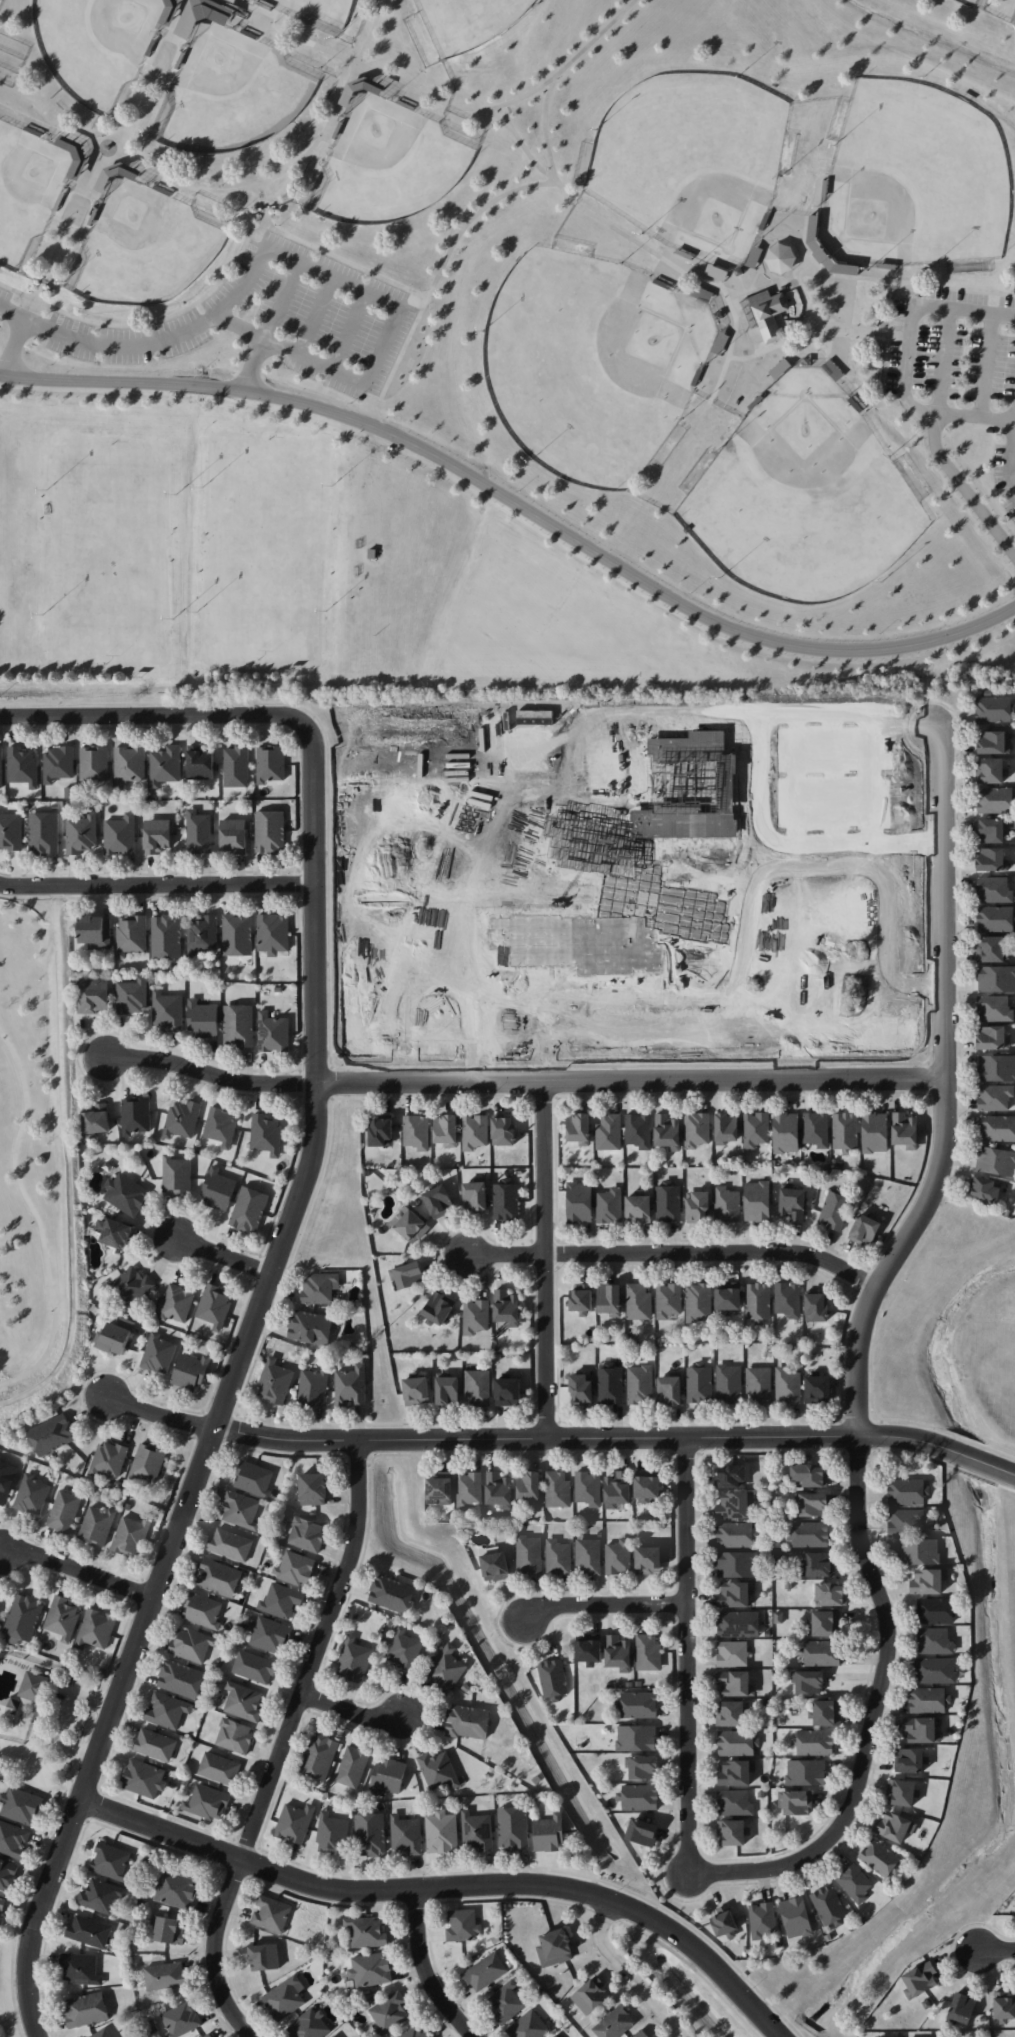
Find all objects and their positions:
building: (234, 0)
park: (978, 3)
park: (324, 11)
building: (203, 15)
park: (1014, 19)
park: (469, 20)
road: (371, 32)
park: (97, 49)
road: (566, 66)
road: (156, 67)
building: (376, 91)
park: (232, 93)
road: (39, 124)
road: (543, 129)
road: (526, 156)
park: (686, 158)
park: (391, 164)
road: (131, 167)
park: (913, 181)
road: (192, 189)
park: (27, 191)
road: (263, 212)
road: (60, 241)
park: (149, 246)
road: (801, 252)
building: (754, 256)
road: (443, 266)
building: (880, 270)
building: (716, 272)
road: (895, 292)
road: (281, 303)
building: (773, 313)
road: (814, 313)
road: (395, 316)
road: (316, 318)
parking lot: (250, 322)
road: (150, 324)
road: (348, 333)
road: (865, 333)
park: (506, 344)
road: (106, 346)
road: (15, 349)
road: (906, 359)
park: (588, 362)
road: (943, 363)
road: (254, 366)
building: (780, 368)
parking lot: (959, 368)
road: (986, 368)
road: (1009, 451)
road: (963, 491)
park: (801, 500)
road: (516, 504)
park: (267, 553)
park: (112, 554)
road: (118, 688)
building: (993, 708)
building: (992, 741)
building: (200, 762)
building: (58, 763)
building: (270, 763)
building: (94, 764)
building: (129, 764)
building: (165, 765)
building: (23, 766)
building: (236, 766)
building: (1, 767)
building: (990, 770)
building: (993, 799)
building: (990, 829)
building: (11, 831)
building: (198, 832)
building: (269, 832)
building: (43, 833)
building: (81, 833)
building: (120, 835)
building: (157, 835)
building: (233, 835)
building: (990, 859)
road: (155, 883)
building: (994, 889)
road: (304, 890)
building: (995, 919)
building: (96, 931)
building: (273, 933)
building: (131, 934)
building: (202, 934)
building: (237, 934)
building: (166, 936)
building: (990, 949)
building: (996, 977)
building: (92, 995)
building: (132, 995)
building: (994, 1009)
building: (167, 1010)
building: (202, 1019)
building: (238, 1025)
building: (273, 1032)
building: (992, 1037)
road: (173, 1051)
road: (100, 1054)
road: (106, 1056)
building: (996, 1067)
road: (307, 1076)
road: (521, 1081)
building: (994, 1097)
building: (135, 1115)
building: (182, 1118)
building: (95, 1119)
building: (221, 1126)
building: (726, 1127)
building: (816, 1128)
building: (997, 1128)
building: (579, 1129)
building: (696, 1129)
building: (755, 1129)
building: (904, 1129)
building: (446, 1130)
building: (504, 1130)
building: (639, 1130)
building: (381, 1131)
building: (416, 1131)
building: (475, 1131)
building: (608, 1131)
building: (667, 1131)
building: (786, 1131)
building: (845, 1131)
building: (874, 1132)
building: (266, 1134)
building: (996, 1161)
park: (38, 1166)
building: (176, 1174)
road: (69, 1181)
building: (984, 1188)
building: (218, 1189)
building: (126, 1193)
building: (475, 1195)
building: (756, 1200)
building: (439, 1201)
building: (506, 1201)
building: (578, 1202)
building: (668, 1202)
building: (792, 1203)
building: (726, 1204)
building: (698, 1205)
building: (609, 1206)
building: (638, 1207)
building: (249, 1209)
building: (835, 1209)
building: (410, 1224)
building: (865, 1229)
building: (114, 1232)
road: (276, 1248)
road: (671, 1251)
road: (219, 1255)
road: (546, 1257)
building: (408, 1275)
building: (130, 1286)
building: (320, 1287)
building: (728, 1296)
building: (581, 1298)
building: (609, 1298)
building: (787, 1298)
building: (667, 1299)
building: (638, 1300)
building: (698, 1302)
building: (758, 1302)
building: (176, 1303)
building: (815, 1305)
building: (214, 1306)
building: (439, 1307)
building: (507, 1307)
building: (475, 1316)
building: (310, 1327)
building: (116, 1335)
dam: (20, 1351)
road: (859, 1351)
building: (158, 1353)
building: (190, 1372)
building: (275, 1381)
building: (610, 1383)
building: (699, 1383)
building: (759, 1383)
building: (640, 1384)
building: (728, 1384)
building: (350, 1385)
building: (787, 1385)
building: (478, 1386)
building: (312, 1387)
building: (818, 1387)
building: (581, 1388)
building: (669, 1388)
building: (447, 1389)
building: (416, 1390)
building: (508, 1391)
road: (10, 1402)
road: (159, 1413)
building: (52, 1434)
road: (616, 1435)
building: (109, 1458)
building: (148, 1462)
building: (809, 1475)
building: (730, 1476)
building: (254, 1478)
building: (6, 1480)
building: (647, 1484)
building: (529, 1487)
building: (441, 1488)
building: (468, 1488)
building: (588, 1488)
building: (313, 1489)
building: (499, 1489)
building: (557, 1489)
building: (617, 1489)
building: (907, 1490)
building: (32, 1494)
building: (812, 1504)
building: (734, 1505)
building: (241, 1510)
building: (64, 1511)
building: (905, 1521)
building: (97, 1525)
building: (306, 1534)
building: (736, 1534)
building: (810, 1534)
building: (130, 1535)
building: (229, 1544)
building: (919, 1551)
building: (529, 1554)
building: (588, 1555)
building: (618, 1556)
building: (558, 1557)
building: (648, 1560)
building: (736, 1564)
building: (818, 1564)
building: (495, 1566)
building: (295, 1568)
road: (76, 1570)
building: (218, 1577)
building: (928, 1581)
building: (391, 1593)
building: (735, 1594)
building: (831, 1594)
building: (281, 1600)
road: (604, 1604)
building: (202, 1610)
building: (935, 1610)
building: (62, 1617)
building: (23, 1618)
building: (825, 1623)
building: (738, 1624)
building: (96, 1629)
building: (269, 1634)
building: (935, 1641)
building: (191, 1644)
building: (589, 1648)
building: (403, 1649)
building: (648, 1652)
road: (687, 1652)
building: (821, 1652)
building: (618, 1653)
building: (732, 1653)
building: (353, 1660)
building: (254, 1667)
building: (446, 1669)
building: (936, 1670)
building: (181, 1679)
building: (553, 1679)
building: (807, 1681)
building: (735, 1683)
building: (34, 1685)
building: (928, 1699)
building: (243, 1701)
building: (638, 1704)
road: (351, 1709)
building: (167, 1710)
building: (826, 1712)
building: (730, 1713)
road: (64, 1716)
building: (468, 1721)
building: (921, 1729)
building: (234, 1735)
building: (636, 1737)
building: (736, 1742)
building: (814, 1742)
building: (155, 1744)
road: (284, 1744)
building: (319, 1756)
building: (909, 1760)
building: (352, 1766)
building: (643, 1767)
building: (219, 1768)
building: (438, 1770)
building: (736, 1772)
building: (806, 1772)
building: (388, 1775)
building: (144, 1778)
building: (901, 1792)
building: (639, 1797)
building: (208, 1801)
building: (734, 1802)
building: (795, 1802)
building: (21, 1805)
building: (295, 1822)
building: (894, 1826)
building: (513, 1827)
building: (477, 1831)
building: (442, 1832)
building: (642, 1832)
building: (732, 1832)
building: (549, 1833)
building: (371, 1834)
building: (406, 1834)
building: (333, 1835)
building: (13, 1839)
building: (881, 1858)
building: (111, 1861)
building: (7, 1874)
building: (855, 1882)
road: (449, 1886)
building: (176, 1889)
building: (101, 1895)
building: (2, 1905)
building: (828, 1905)
building: (271, 1913)
building: (795, 1917)
building: (762, 1919)
building: (724, 1922)
building: (463, 1925)
building: (169, 1929)
building: (89, 1931)
building: (366, 1932)
building: (555, 1947)
road: (994, 1950)
building: (262, 1956)
building: (80, 1968)
building: (370, 1969)
road: (425, 1969)
building: (485, 1971)
road: (628, 1973)
building: (165, 1975)
building: (920, 1979)
building: (591, 1995)
building: (285, 1998)
building: (505, 2002)
building: (1004, 2006)
building: (961, 2008)
building: (85, 2009)
building: (389, 2013)
building: (180, 2019)
building: (615, 2023)
building: (309, 2025)
building: (529, 2026)
building: (416, 2031)
building: (102, 2033)
building: (640, 2034)
building: (208, 2035)
building: (334, 2036)
building: (556, 2036)

